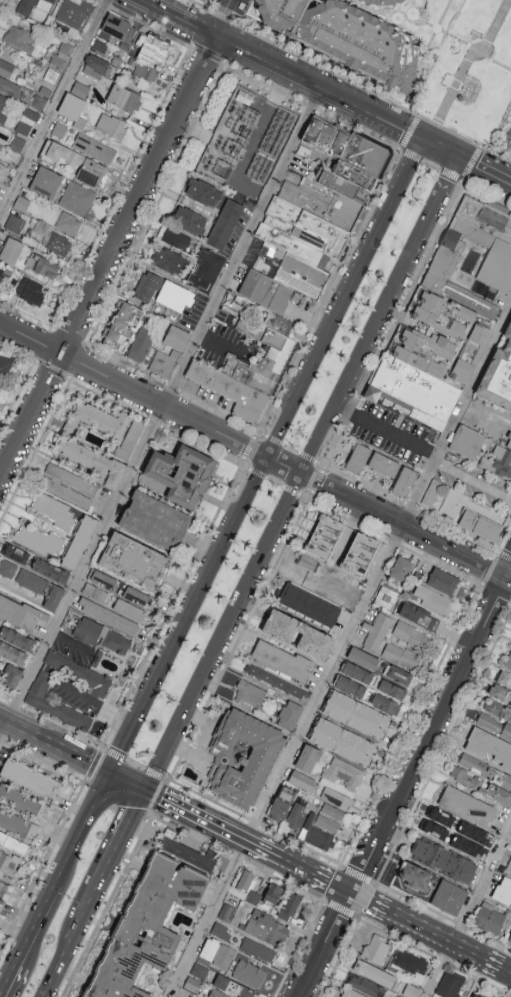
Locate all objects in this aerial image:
building: (380, 2)
road: (155, 3)
road: (228, 3)
building: (25, 8)
building: (74, 13)
road: (220, 21)
building: (117, 28)
building: (19, 37)
building: (347, 39)
building: (152, 46)
building: (62, 54)
road: (469, 59)
building: (95, 65)
building: (8, 69)
building: (146, 70)
road: (282, 70)
park: (473, 73)
building: (9, 86)
building: (79, 88)
building: (123, 97)
building: (1, 98)
road: (53, 106)
building: (73, 108)
building: (32, 114)
building: (2, 116)
road: (412, 123)
building: (111, 125)
building: (23, 126)
building: (58, 129)
building: (318, 132)
building: (507, 139)
building: (17, 143)
building: (94, 147)
road: (439, 148)
building: (364, 155)
building: (79, 163)
building: (2, 168)
road: (483, 170)
building: (46, 181)
building: (203, 191)
building: (77, 197)
building: (21, 203)
road: (258, 211)
building: (189, 219)
building: (68, 223)
building: (225, 223)
building: (467, 234)
building: (175, 237)
building: (56, 242)
building: (11, 250)
road: (109, 259)
building: (168, 259)
building: (42, 265)
building: (497, 266)
building: (205, 269)
building: (0, 271)
road: (394, 281)
building: (147, 286)
building: (29, 290)
building: (264, 293)
building: (174, 295)
road: (345, 298)
building: (439, 312)
building: (467, 313)
building: (122, 325)
building: (176, 337)
building: (141, 343)
road: (221, 343)
building: (281, 345)
building: (471, 352)
building: (164, 362)
building: (4, 365)
building: (498, 375)
building: (0, 384)
building: (416, 387)
road: (133, 389)
building: (229, 391)
building: (102, 418)
building: (67, 428)
road: (385, 430)
building: (130, 438)
road: (316, 438)
building: (467, 440)
building: (509, 441)
parking lot: (429, 456)
building: (357, 458)
building: (498, 461)
building: (93, 462)
road: (284, 464)
building: (384, 466)
building: (181, 473)
building: (404, 481)
road: (472, 481)
building: (431, 492)
building: (53, 510)
building: (154, 520)
road: (405, 525)
building: (480, 525)
road: (98, 534)
building: (324, 538)
building: (39, 540)
building: (79, 541)
building: (17, 553)
building: (361, 556)
building: (133, 559)
building: (307, 561)
building: (8, 568)
building: (50, 570)
building: (401, 570)
road: (378, 572)
building: (103, 579)
building: (31, 580)
building: (443, 582)
building: (94, 592)
building: (136, 595)
building: (53, 597)
building: (388, 600)
building: (432, 600)
building: (309, 606)
building: (129, 609)
building: (20, 613)
road: (190, 614)
building: (107, 615)
building: (419, 617)
road: (224, 631)
building: (376, 632)
building: (88, 633)
building: (298, 635)
building: (17, 638)
building: (414, 638)
road: (70, 642)
building: (115, 643)
building: (13, 653)
building: (402, 657)
building: (364, 659)
building: (508, 659)
building: (283, 662)
building: (357, 673)
building: (11, 675)
building: (80, 675)
building: (400, 675)
building: (504, 679)
building: (276, 683)
building: (350, 687)
building: (391, 689)
building: (500, 693)
parking lot: (74, 695)
building: (249, 696)
building: (385, 703)
building: (56, 705)
road: (99, 706)
building: (497, 709)
building: (355, 714)
building: (289, 716)
building: (494, 724)
road: (430, 727)
road: (199, 739)
building: (342, 741)
road: (55, 745)
building: (489, 746)
building: (243, 757)
building: (308, 758)
building: (485, 770)
traffic signals: (112, 773)
building: (343, 773)
building: (29, 777)
road: (130, 781)
building: (303, 781)
building: (481, 785)
traffic signals: (148, 790)
building: (337, 797)
building: (23, 801)
building: (282, 803)
building: (467, 807)
building: (333, 811)
road: (197, 815)
building: (297, 815)
building: (327, 823)
building: (18, 824)
building: (454, 827)
road: (84, 831)
building: (316, 833)
building: (13, 843)
building: (469, 846)
road: (117, 851)
building: (189, 853)
road: (290, 861)
building: (443, 861)
building: (8, 863)
building: (508, 867)
building: (414, 875)
building: (245, 879)
road: (482, 883)
road: (342, 887)
building: (3, 888)
building: (503, 892)
building: (273, 894)
building: (253, 896)
building: (449, 897)
road: (369, 901)
building: (1, 903)
building: (290, 906)
building: (226, 912)
road: (208, 918)
building: (492, 918)
road: (36, 926)
road: (421, 927)
building: (266, 928)
building: (148, 929)
building: (221, 930)
building: (510, 942)
road: (323, 944)
building: (258, 948)
building: (376, 948)
building: (217, 953)
road: (476, 954)
road: (66, 955)
building: (410, 961)
road: (505, 969)
building: (199, 970)
road: (439, 970)
building: (248, 973)
building: (374, 973)
road: (8, 980)
building: (192, 983)
building: (450, 983)
building: (366, 986)
building: (232, 987)
building: (410, 990)
building: (351, 993)
building: (479, 995)
building: (399, 996)
building: (501, 996)

